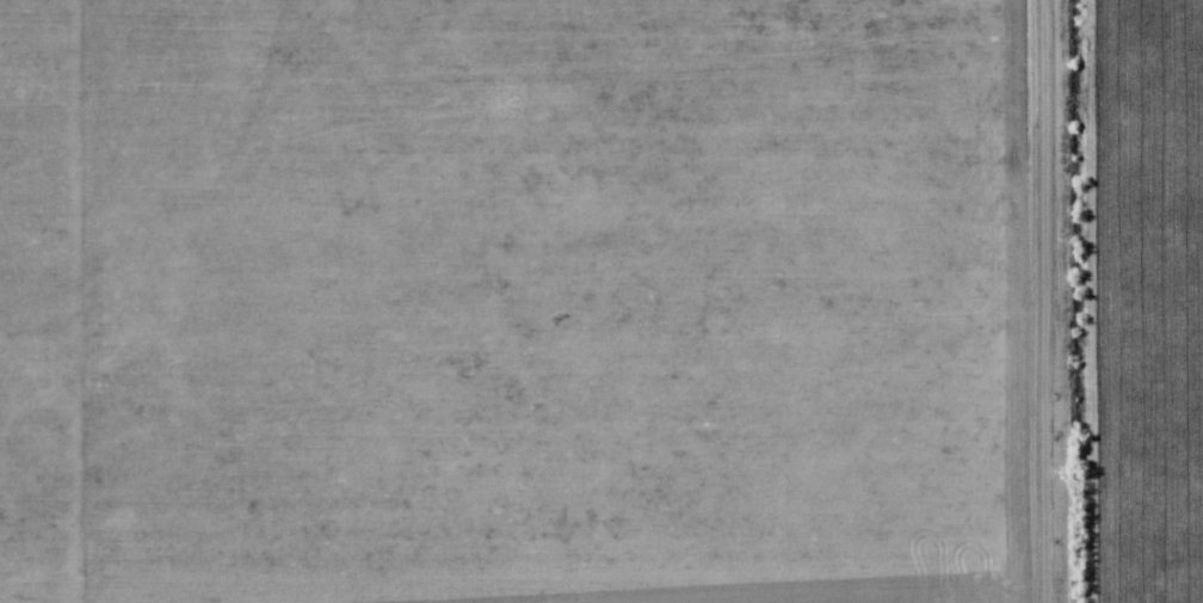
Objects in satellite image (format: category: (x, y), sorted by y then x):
road: (1054, 301)

